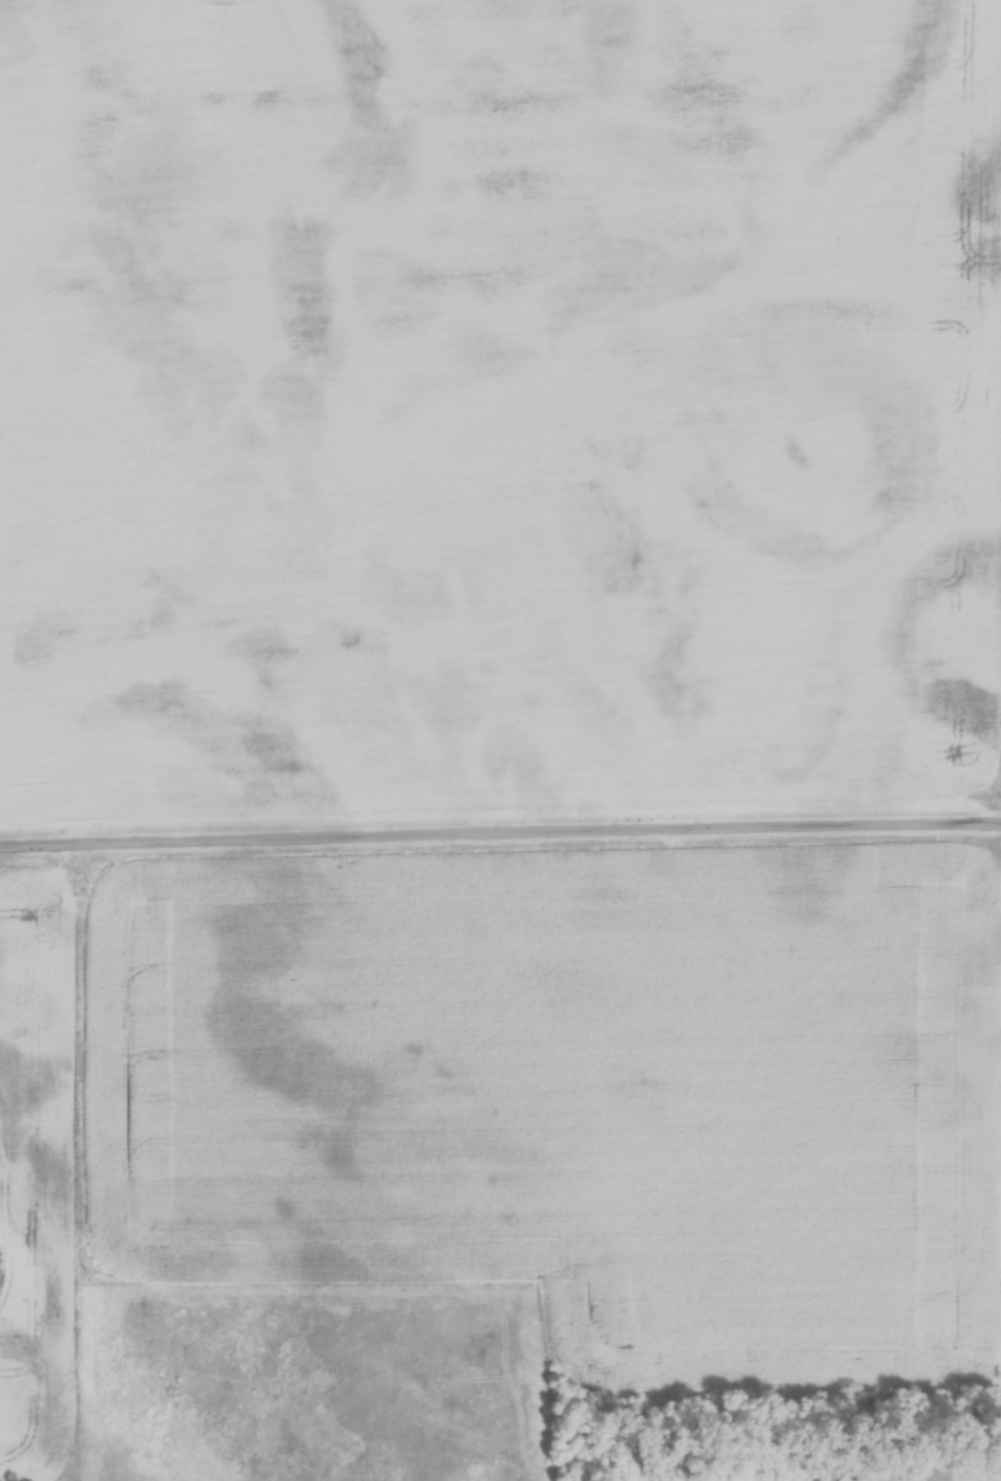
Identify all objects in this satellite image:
road: (500, 834)

